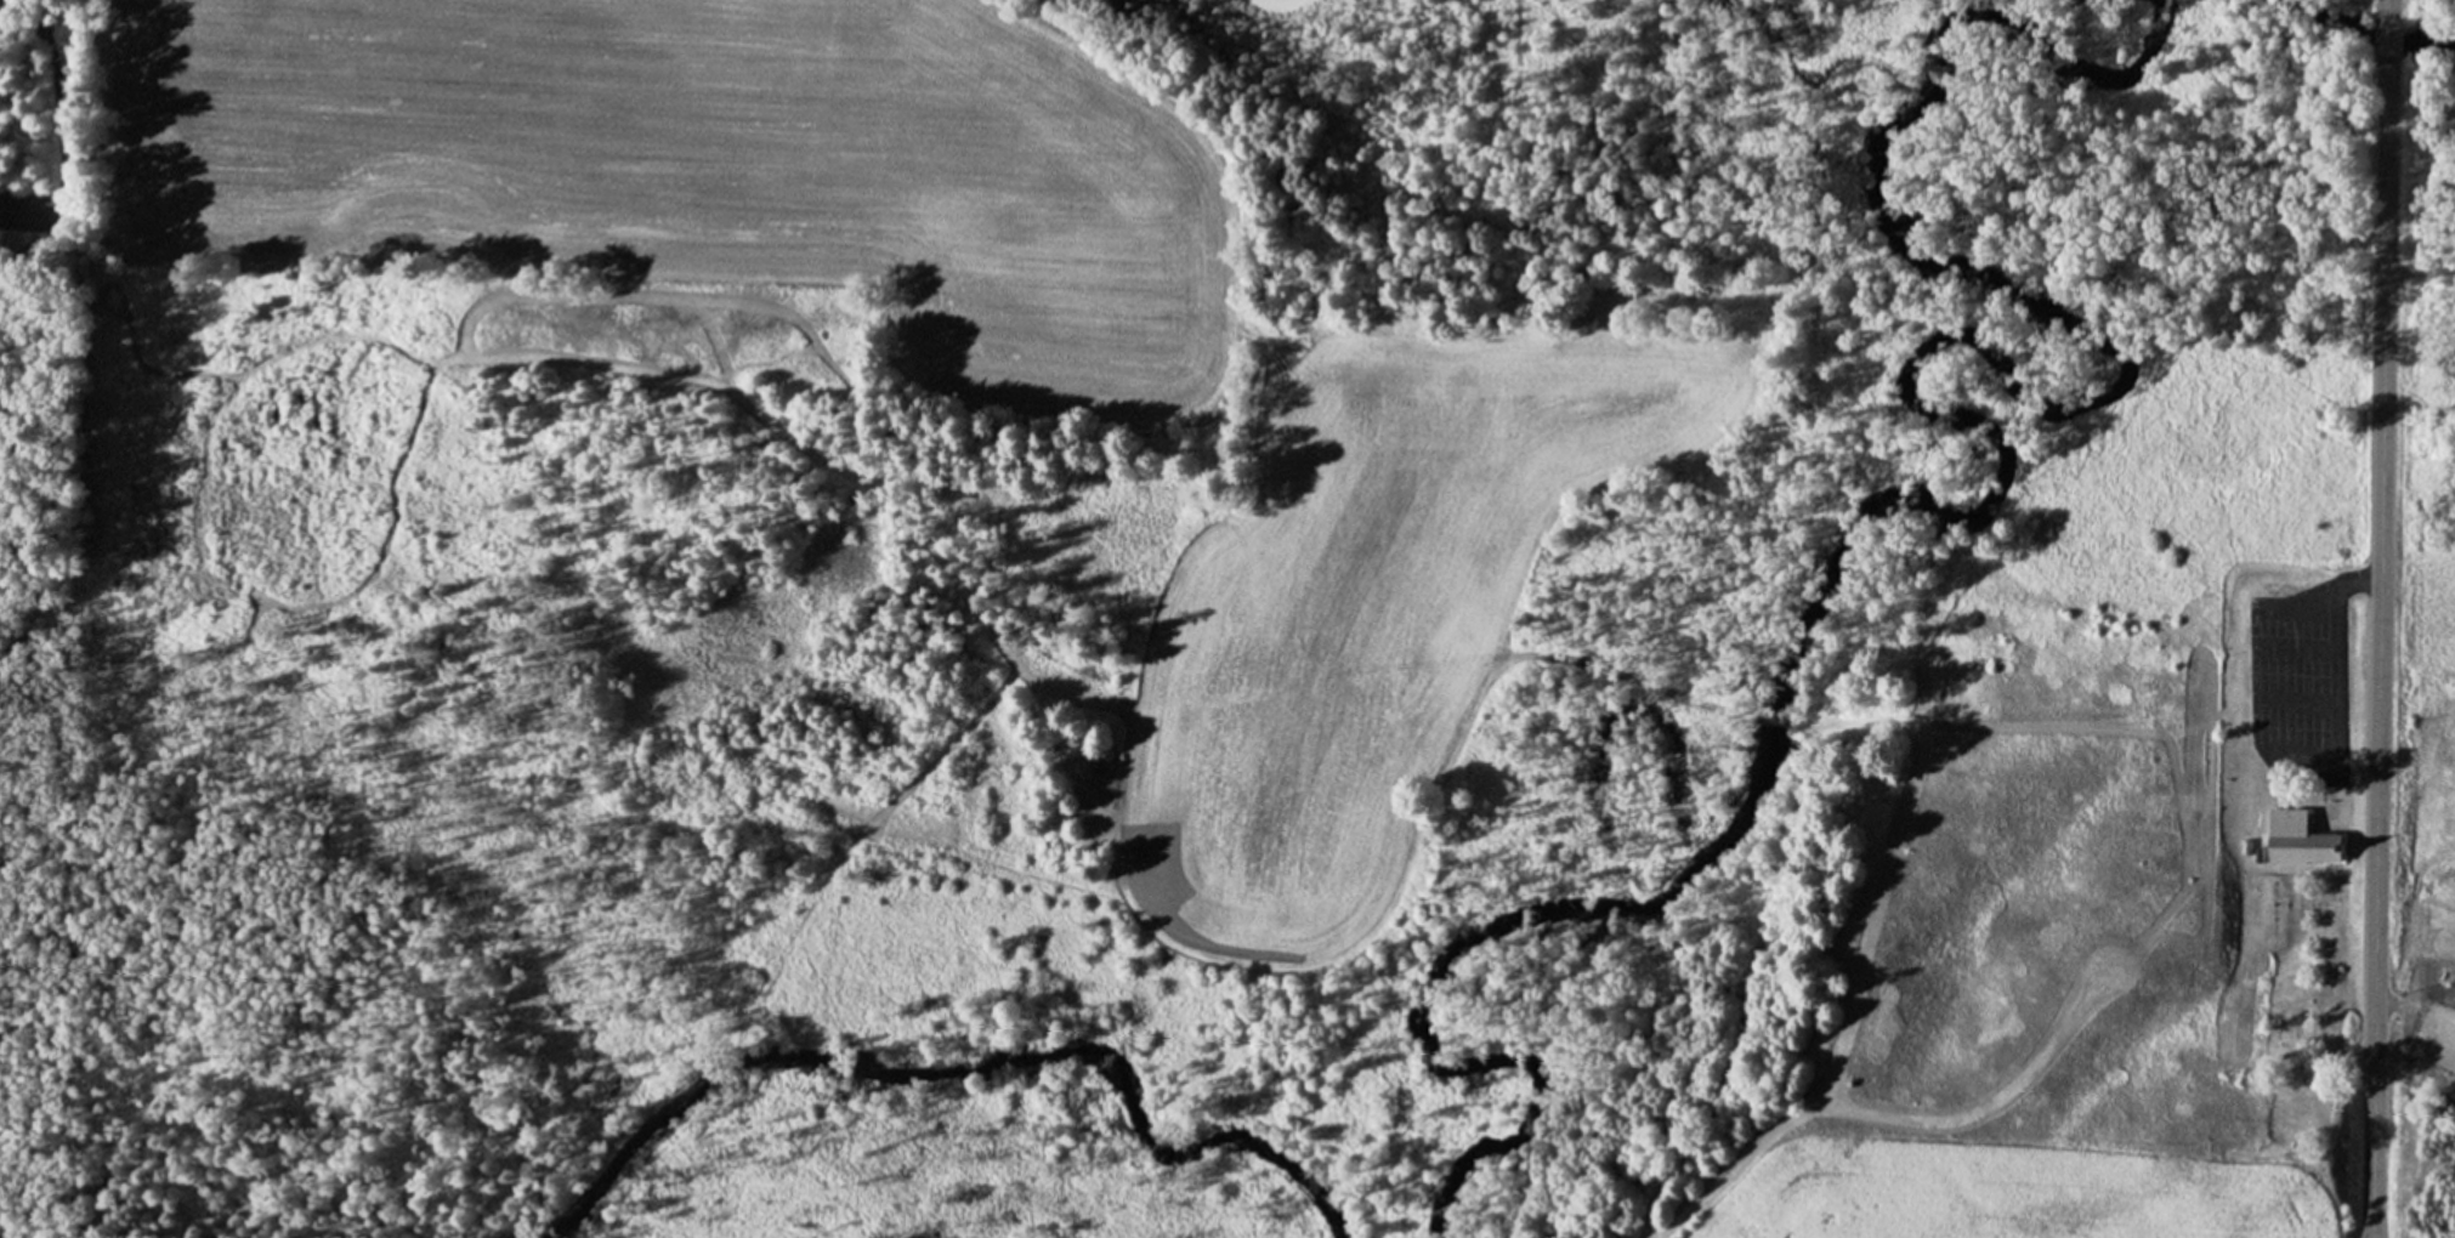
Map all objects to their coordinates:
road: (2379, 4)
river: (2371, 29)
road: (2379, 29)
river: (1971, 499)
road: (2325, 638)
road: (2372, 643)
building: (2289, 829)
park: (2114, 859)
road: (2415, 1001)
river: (953, 1062)

